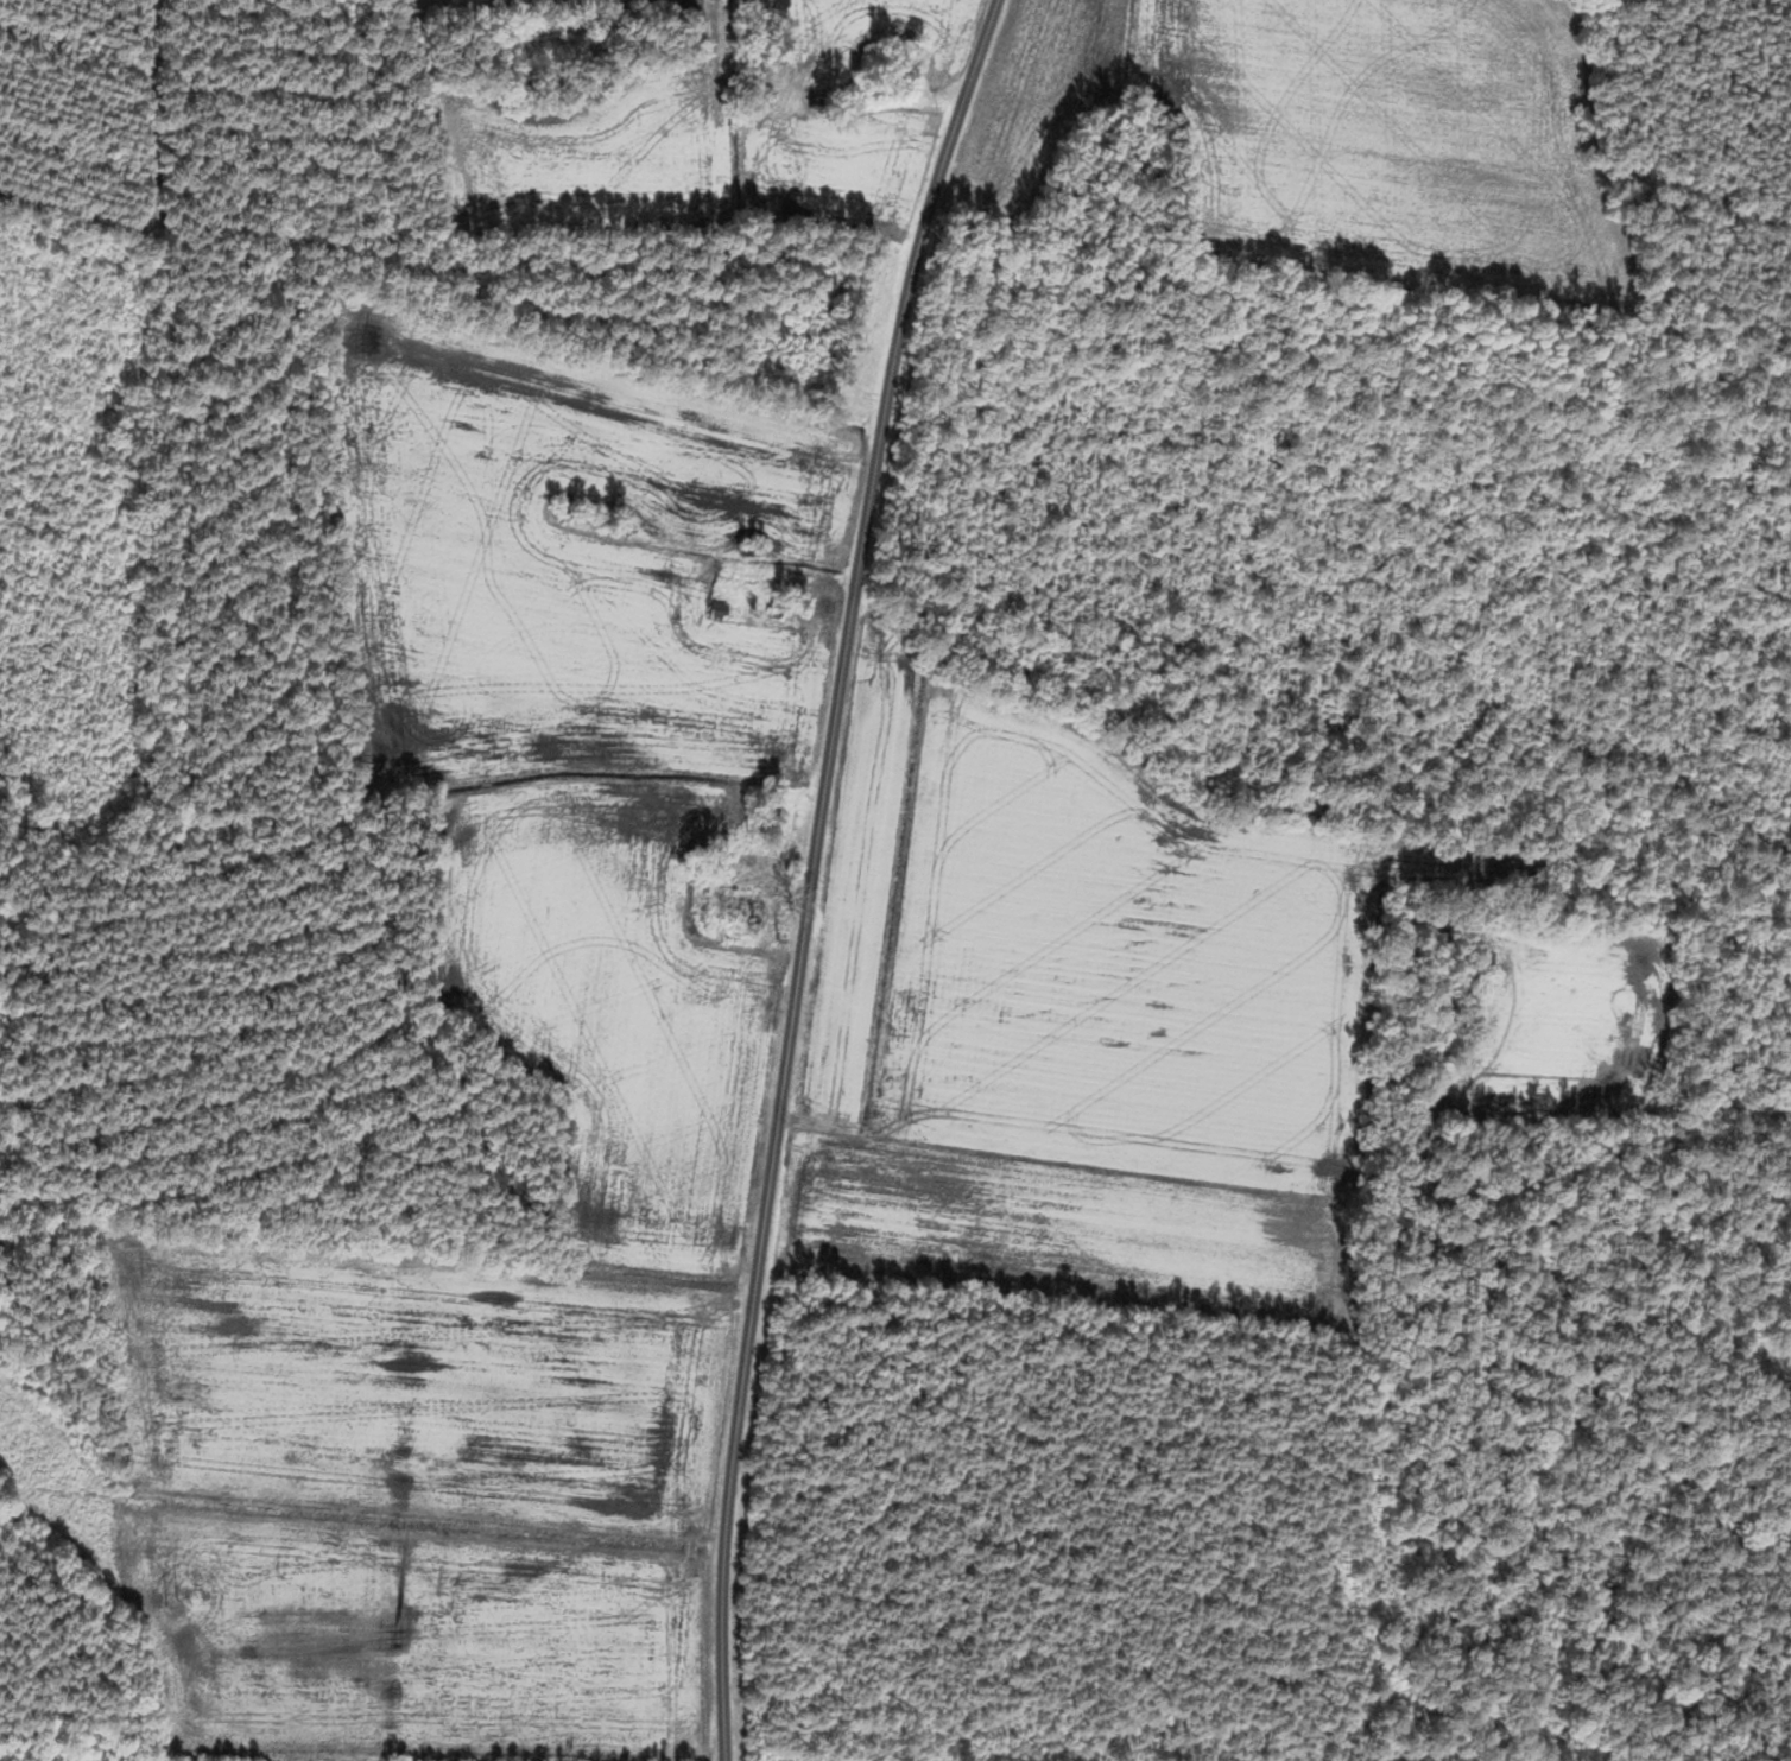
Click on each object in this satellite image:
building: (789, 608)
road: (812, 873)
power tower: (183, 1600)

